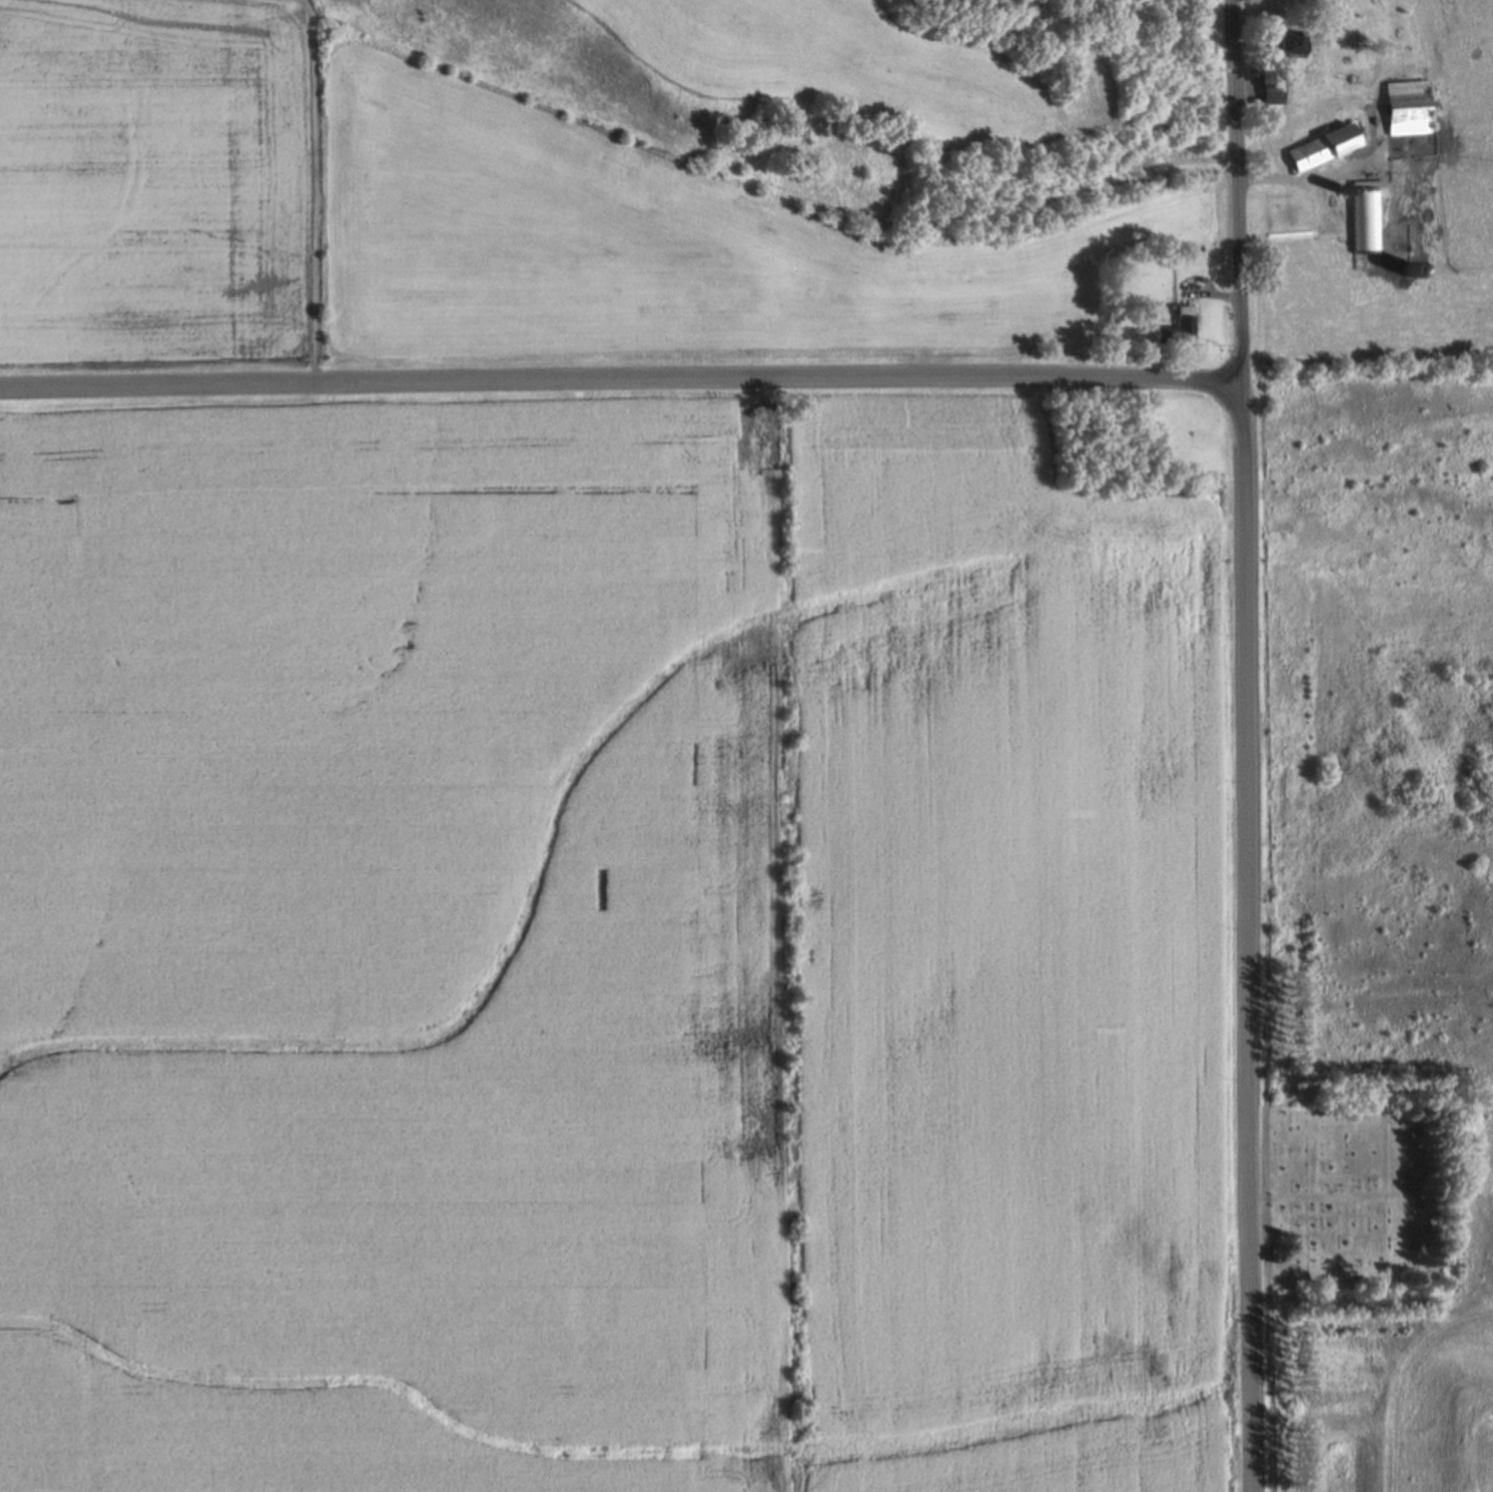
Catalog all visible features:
building: (1285, 40)
building: (1272, 89)
building: (1408, 106)
building: (1322, 147)
road: (1319, 178)
road: (312, 184)
road: (1238, 202)
building: (1367, 225)
road: (1193, 294)
building: (1178, 326)
road: (1169, 380)
landfill: (1382, 850)
park: (1361, 1195)

